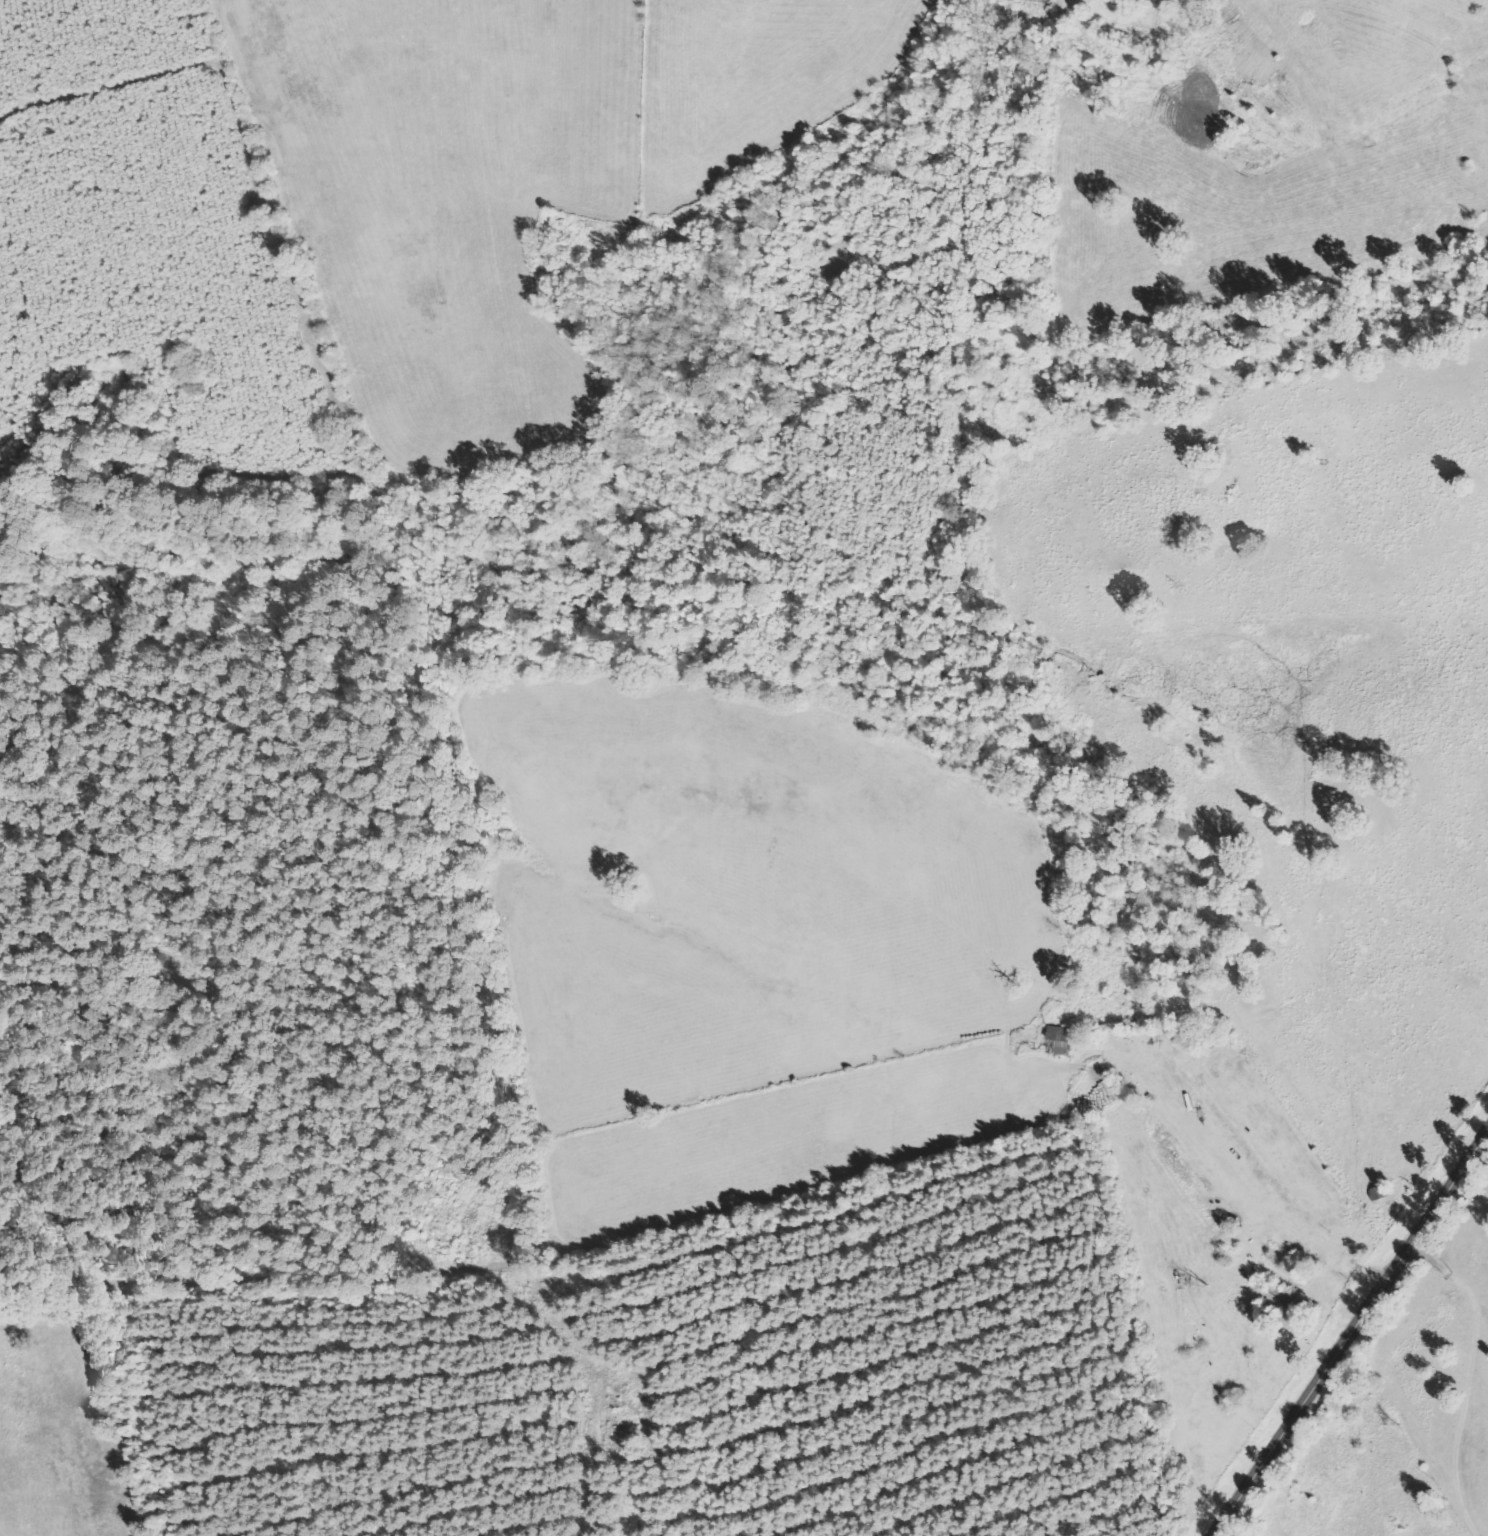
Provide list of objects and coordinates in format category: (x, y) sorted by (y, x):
building: (1066, 1039)
road: (1351, 1335)
road: (1476, 1379)

